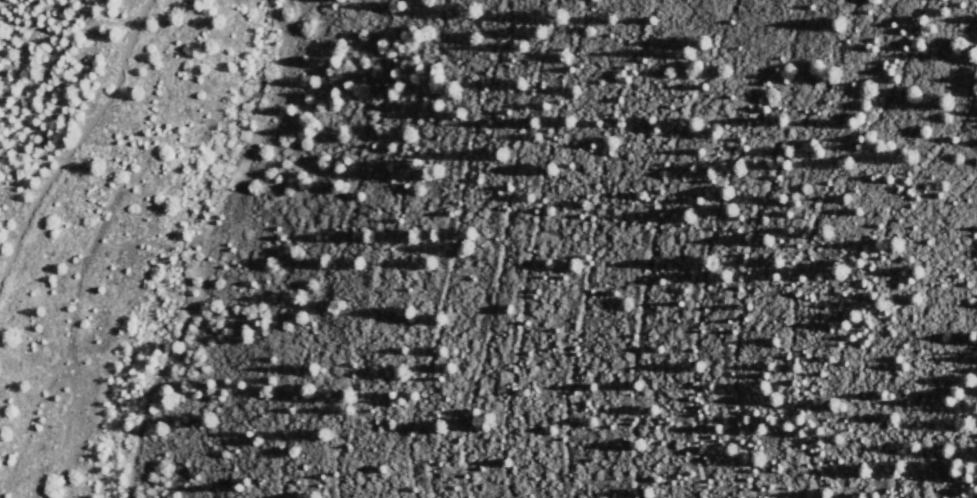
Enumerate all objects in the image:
road: (78, 144)

